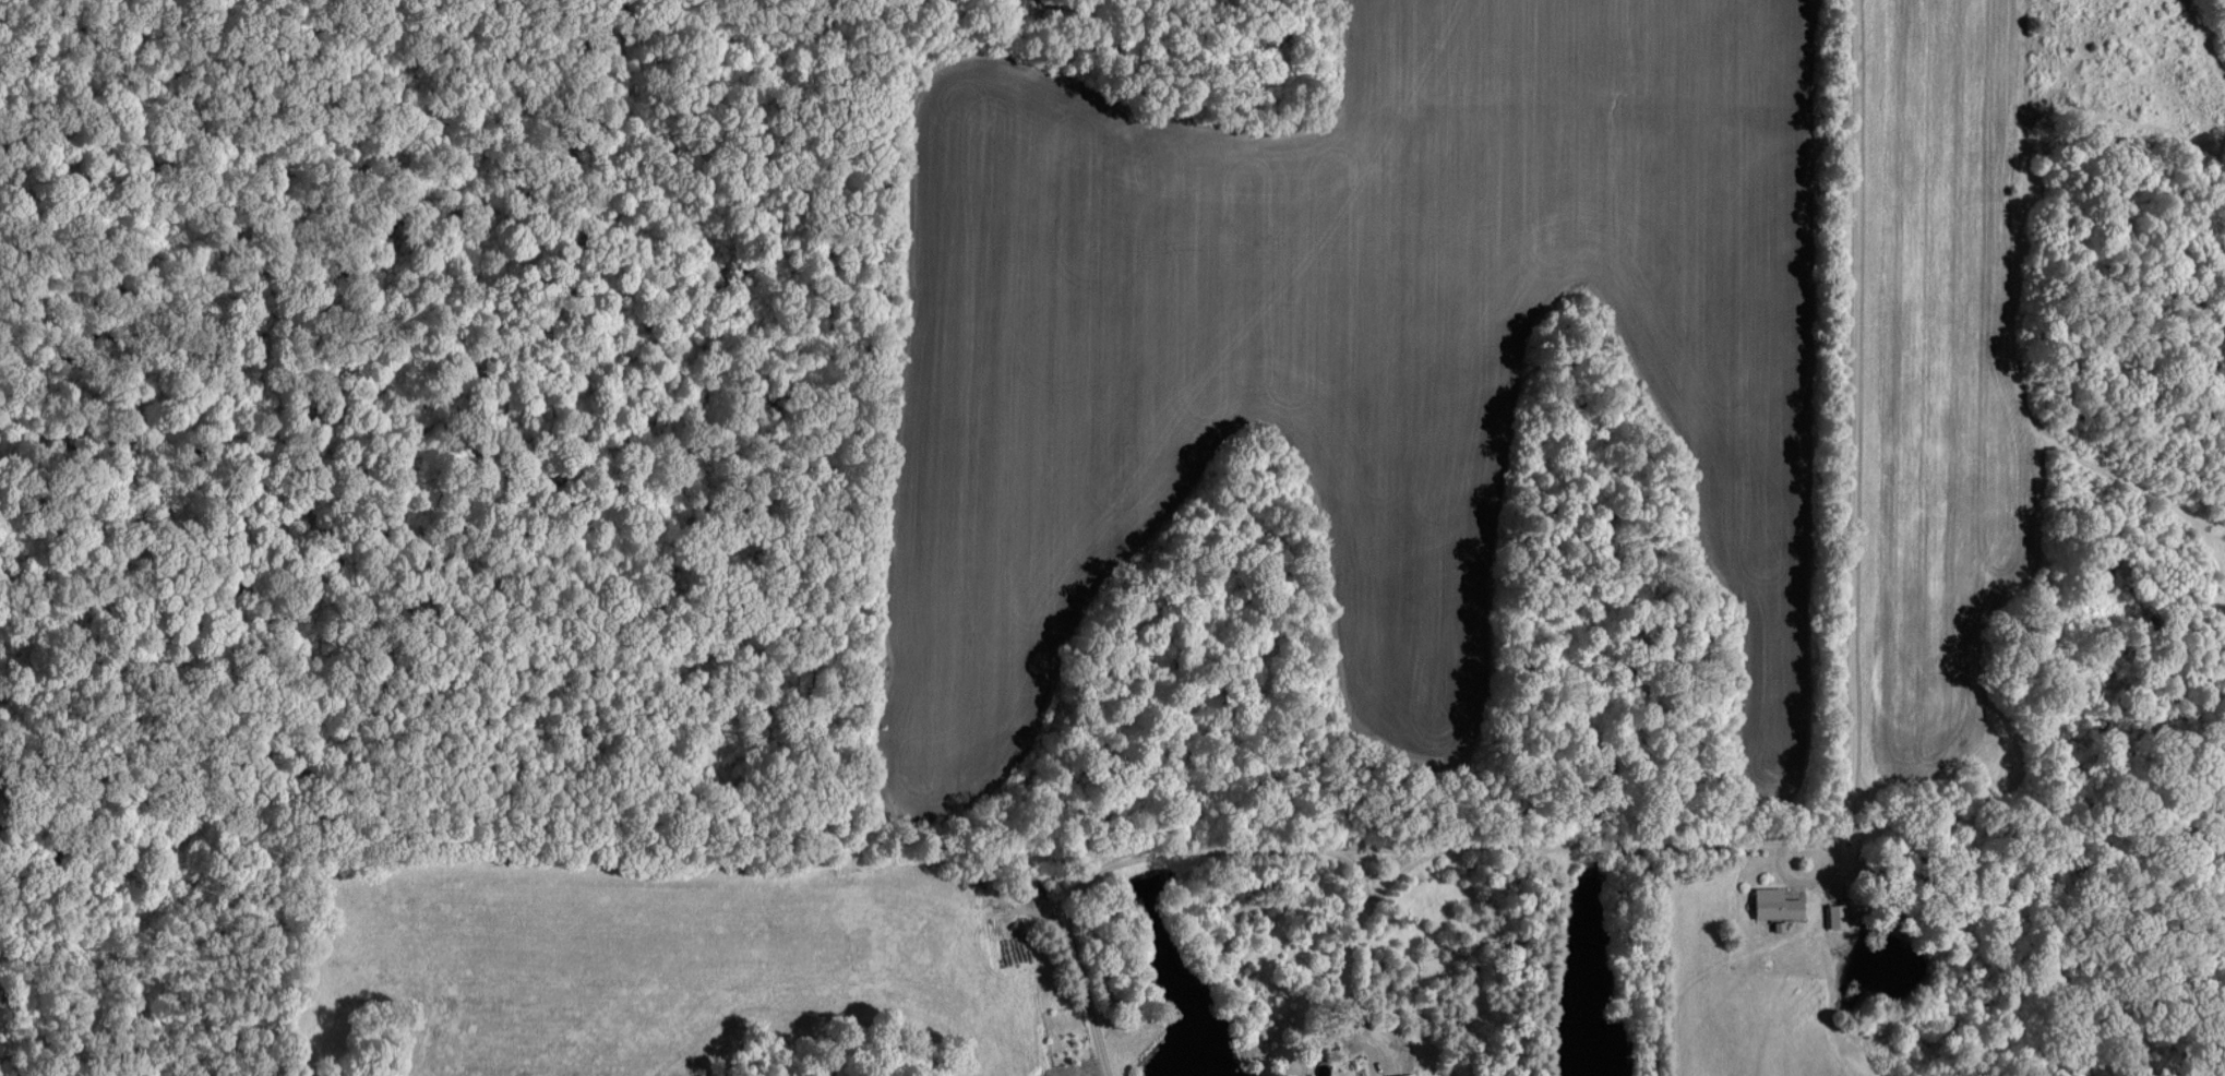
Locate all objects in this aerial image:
road: (1770, 842)
road: (1398, 870)
building: (1771, 902)
building: (1833, 914)
road: (1345, 949)
building: (1400, 1074)

